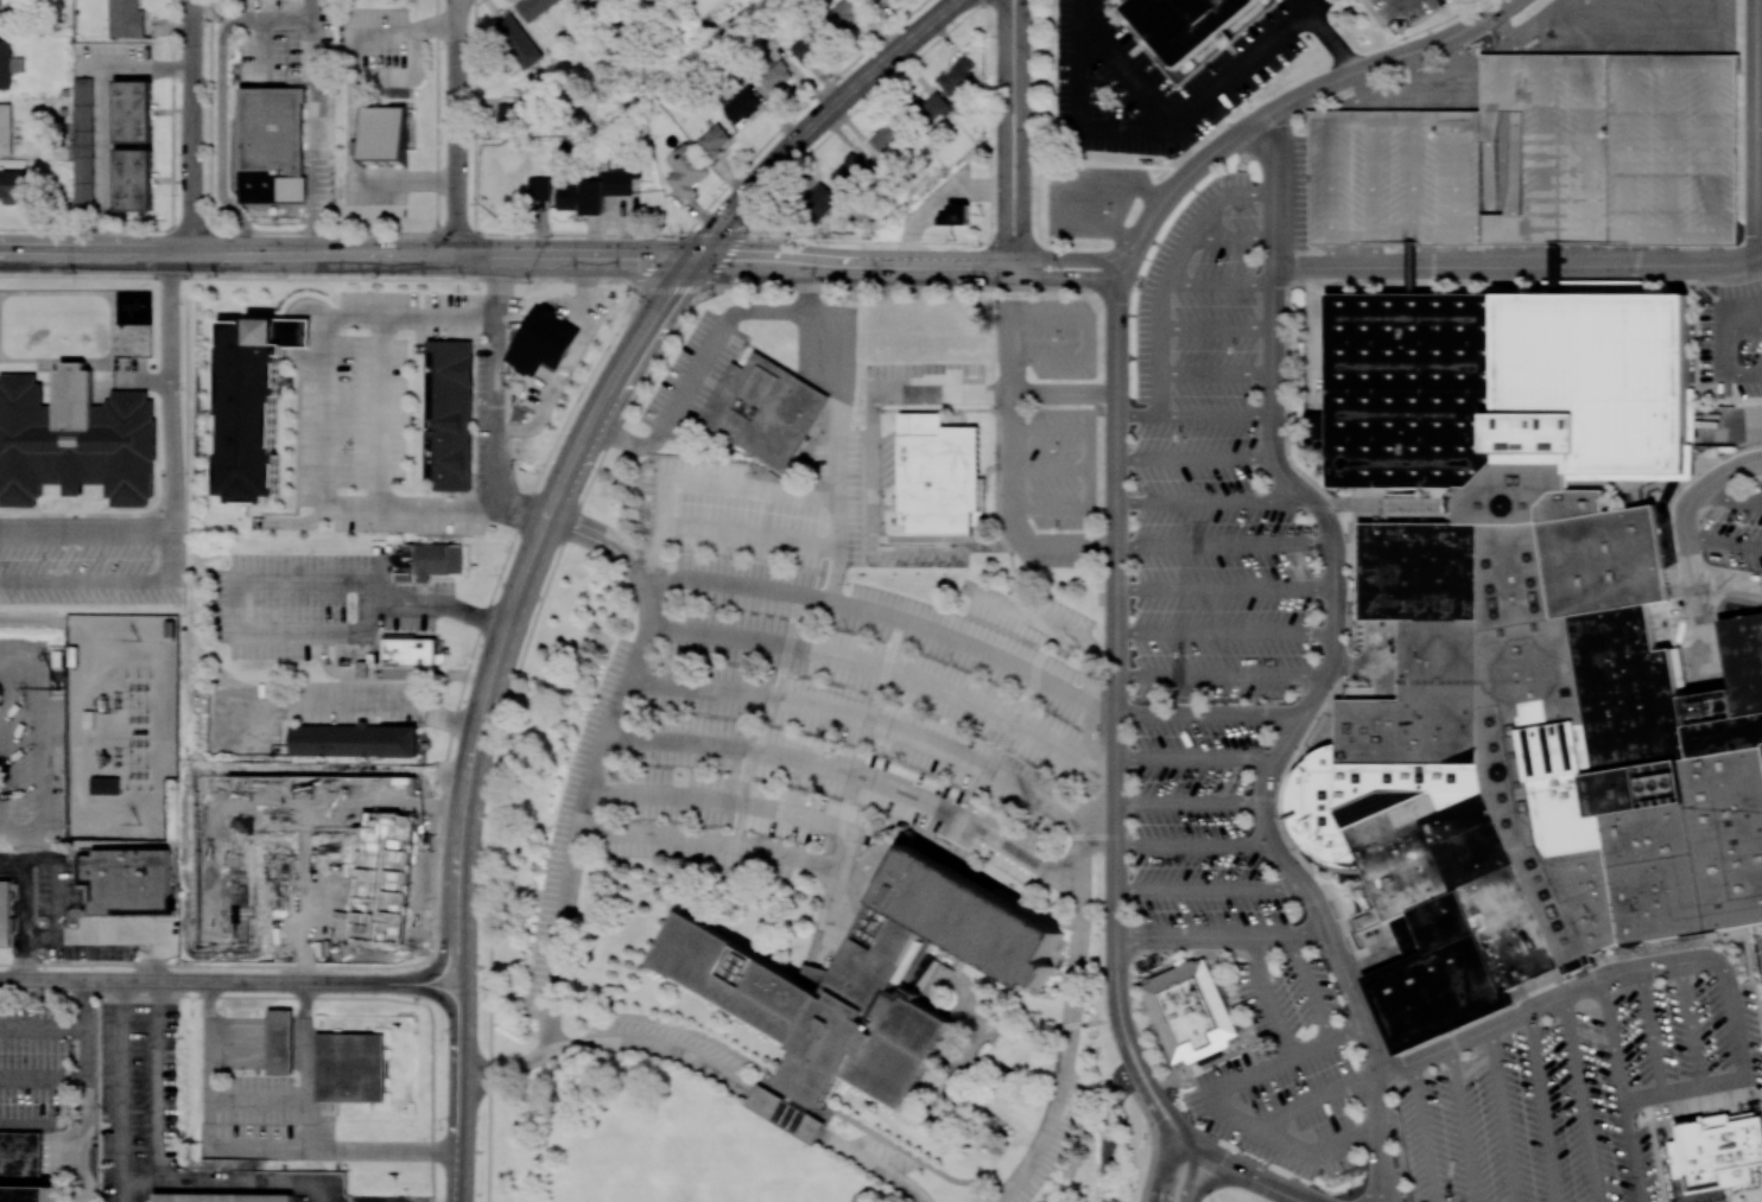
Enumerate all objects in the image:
building: (876, 0)
road: (459, 1)
road: (1402, 1)
building: (534, 7)
building: (842, 15)
building: (0, 17)
building: (126, 19)
road: (304, 20)
building: (1184, 24)
road: (1504, 24)
road: (1538, 24)
parking lot: (1643, 24)
road: (1587, 26)
road: (1630, 26)
road: (1672, 26)
road: (1716, 26)
road: (380, 30)
road: (1548, 33)
road: (1329, 37)
building: (519, 42)
road: (1506, 45)
building: (807, 49)
road: (1399, 56)
road: (1523, 62)
road: (1608, 62)
road: (1691, 62)
building: (5, 64)
road: (1459, 71)
building: (957, 76)
building: (775, 77)
road: (1419, 80)
road: (1365, 89)
parking lot: (1425, 89)
road: (1501, 93)
building: (741, 106)
building: (932, 109)
building: (133, 110)
building: (507, 113)
road: (1178, 113)
road: (103, 115)
road: (1083, 117)
road: (1351, 117)
road: (1757, 117)
road: (1428, 119)
road: (818, 121)
road: (195, 127)
road: (458, 128)
building: (5, 129)
building: (385, 133)
road: (354, 134)
building: (888, 136)
road: (221, 139)
road: (1003, 139)
road: (1025, 139)
building: (715, 140)
road: (1279, 141)
building: (82, 142)
building: (272, 144)
road: (1546, 147)
road: (1587, 147)
road: (1629, 147)
road: (1265, 148)
road: (1671, 148)
road: (1712, 150)
building: (1539, 158)
parking lot: (1539, 158)
road: (317, 167)
road: (1488, 167)
building: (685, 172)
road: (1514, 172)
building: (849, 173)
road: (1191, 173)
road: (1371, 174)
road: (1413, 176)
road: (1454, 176)
road: (1330, 177)
building: (133, 179)
road: (407, 180)
building: (14, 186)
building: (539, 187)
building: (591, 191)
parking lot: (1292, 191)
road: (1248, 196)
building: (818, 202)
building: (957, 216)
road: (1203, 220)
road: (1217, 221)
road: (1278, 222)
road: (1440, 233)
road: (1590, 234)
road: (1350, 236)
road: (1691, 239)
road: (1208, 240)
road: (1251, 240)
road: (1335, 255)
road: (1376, 255)
road: (1419, 255)
road: (1457, 255)
road: (1494, 255)
road: (1540, 255)
road: (1587, 255)
road: (1629, 255)
road: (1671, 255)
road: (1713, 255)
road: (346, 256)
traffic signals: (693, 259)
road: (909, 259)
road: (1519, 265)
road: (1126, 268)
building: (1406, 269)
building: (1551, 271)
road: (906, 276)
road: (1122, 279)
road: (1219, 285)
road: (1731, 306)
road: (1160, 324)
road: (1218, 329)
building: (551, 330)
road: (1742, 330)
road: (1317, 337)
parking lot: (1732, 339)
road: (1276, 342)
road: (1117, 351)
road: (695, 369)
road: (1723, 371)
road: (1218, 375)
parking lot: (1031, 384)
building: (1587, 384)
building: (1412, 390)
road: (942, 395)
road: (500, 401)
building: (248, 402)
building: (763, 409)
road: (384, 413)
road: (328, 416)
road: (1139, 416)
road: (1218, 416)
building: (450, 418)
parking lot: (1048, 419)
road: (1725, 425)
building: (1314, 426)
road: (837, 435)
building: (75, 439)
road: (1197, 458)
road: (1012, 469)
parking lot: (1213, 469)
building: (942, 478)
road: (701, 483)
road: (1707, 483)
road: (1354, 497)
road: (166, 498)
road: (1731, 498)
road: (1313, 500)
road: (1211, 501)
road: (1117, 503)
building: (1667, 517)
road: (83, 522)
road: (570, 528)
parking lot: (1737, 528)
road: (750, 534)
road: (873, 538)
road: (1724, 542)
road: (1228, 545)
road: (1692, 559)
road: (628, 560)
building: (429, 564)
road: (527, 570)
road: (267, 581)
road: (1729, 586)
road: (1228, 590)
road: (1698, 599)
road: (1117, 611)
road: (1339, 611)
road: (483, 616)
road: (890, 618)
road: (1680, 622)
road: (1228, 632)
power tower: (139, 638)
road: (1382, 645)
road: (1706, 651)
building: (411, 656)
road: (1358, 666)
road: (890, 674)
road: (1222, 676)
road: (1383, 683)
building: (1356, 692)
parking lot: (815, 700)
road: (386, 707)
road: (1210, 714)
power substation: (120, 725)
road: (873, 725)
road: (45, 738)
building: (354, 740)
building: (1521, 750)
road: (1196, 757)
road: (854, 774)
road: (1267, 784)
building: (104, 786)
road: (1190, 804)
road: (800, 816)
power tower: (139, 828)
parking lot: (1196, 831)
building: (1728, 835)
road: (575, 841)
road: (712, 841)
building: (342, 844)
road: (230, 845)
road: (1194, 845)
road: (30, 848)
road: (862, 863)
road: (14, 869)
building: (127, 879)
road: (1212, 889)
road: (1116, 892)
building: (5, 912)
road: (28, 923)
road: (1354, 926)
road: (1223, 937)
road: (304, 950)
road: (444, 954)
road: (1376, 956)
road: (463, 975)
road: (246, 980)
building: (867, 980)
road: (1312, 987)
road: (207, 996)
parking lot: (1286, 997)
road: (1267, 998)
road: (1547, 1001)
road: (1362, 1003)
road: (1071, 1010)
building: (1187, 1013)
road: (1734, 1019)
road: (1690, 1024)
road: (43, 1025)
road: (1352, 1029)
road: (1650, 1031)
building: (279, 1042)
road: (709, 1067)
building: (351, 1068)
road: (85, 1070)
road: (431, 1077)
parking lot: (1577, 1082)
road: (1681, 1088)
road: (1620, 1090)
road: (254, 1099)
road: (1317, 1099)
road: (1579, 1099)
parking lot: (1282, 1107)
road: (1540, 1107)
road: (205, 1112)
building: (787, 1112)
road: (1225, 1114)
road: (1502, 1115)
road: (461, 1119)
road: (1463, 1124)
road: (66, 1125)
road: (1424, 1132)
road: (1378, 1138)
road: (304, 1140)
road: (1190, 1140)
road: (1399, 1145)
building: (1717, 1152)
building: (20, 1155)
road: (83, 1163)
road: (1168, 1166)
road: (1232, 1166)
road: (1187, 1174)
road: (1228, 1179)
building: (14, 1181)
road: (141, 1185)
building: (26, 1194)
road: (1288, 1194)
road: (125, 1195)
building: (224, 1198)

